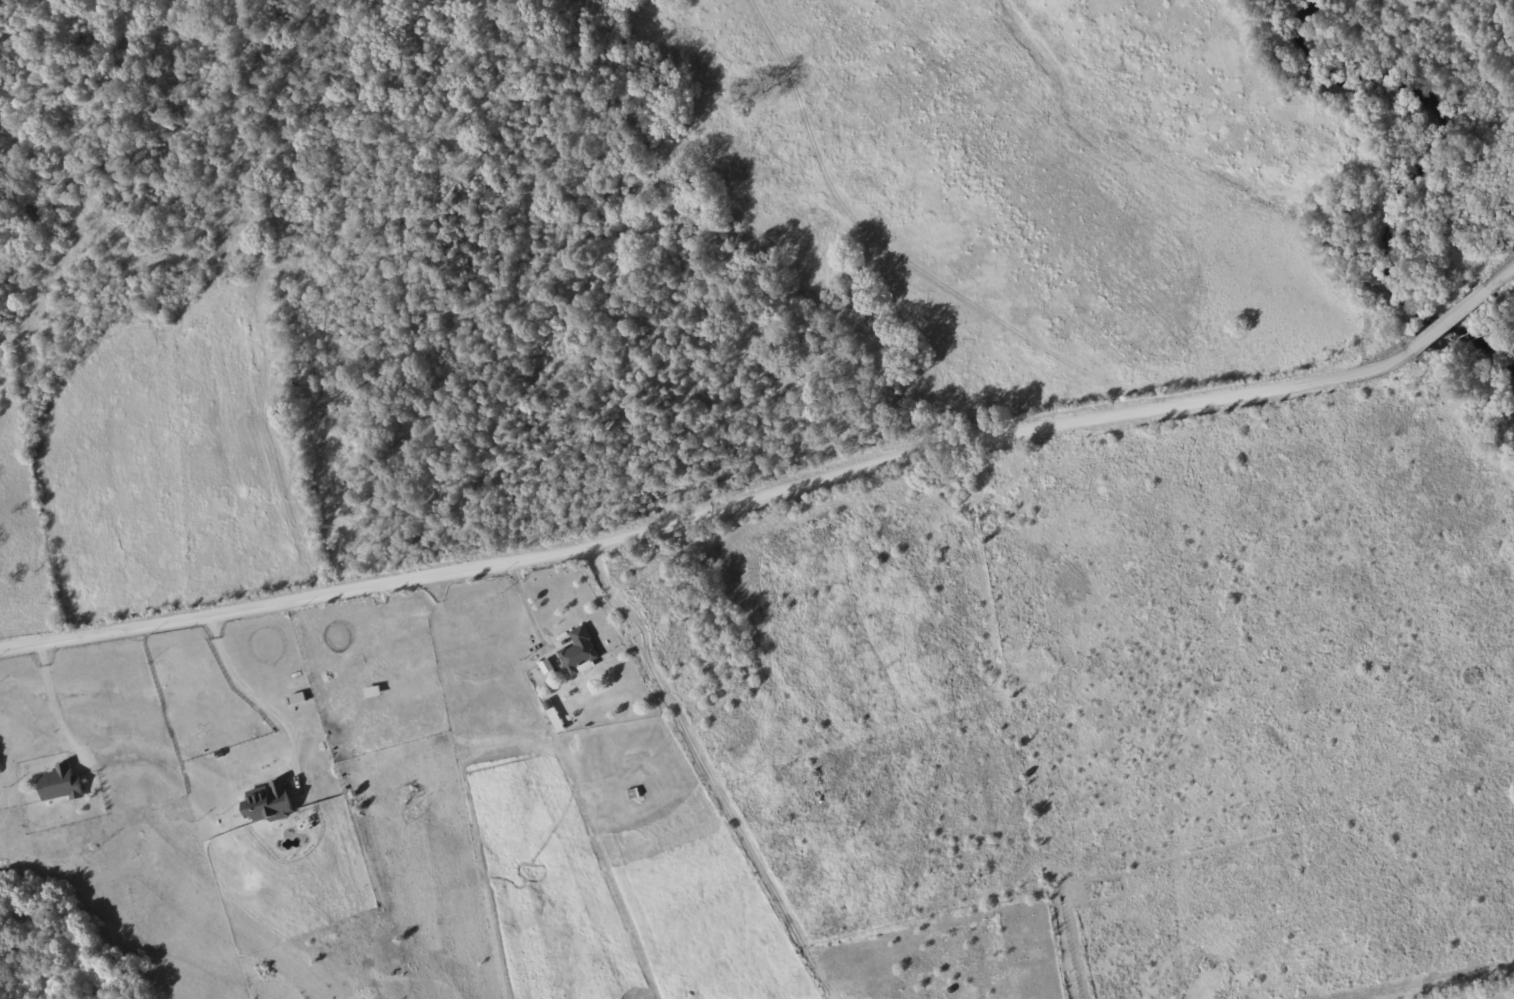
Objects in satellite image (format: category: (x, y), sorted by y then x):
road: (772, 488)
road: (53, 700)
road: (245, 700)
building: (60, 784)
building: (266, 803)

